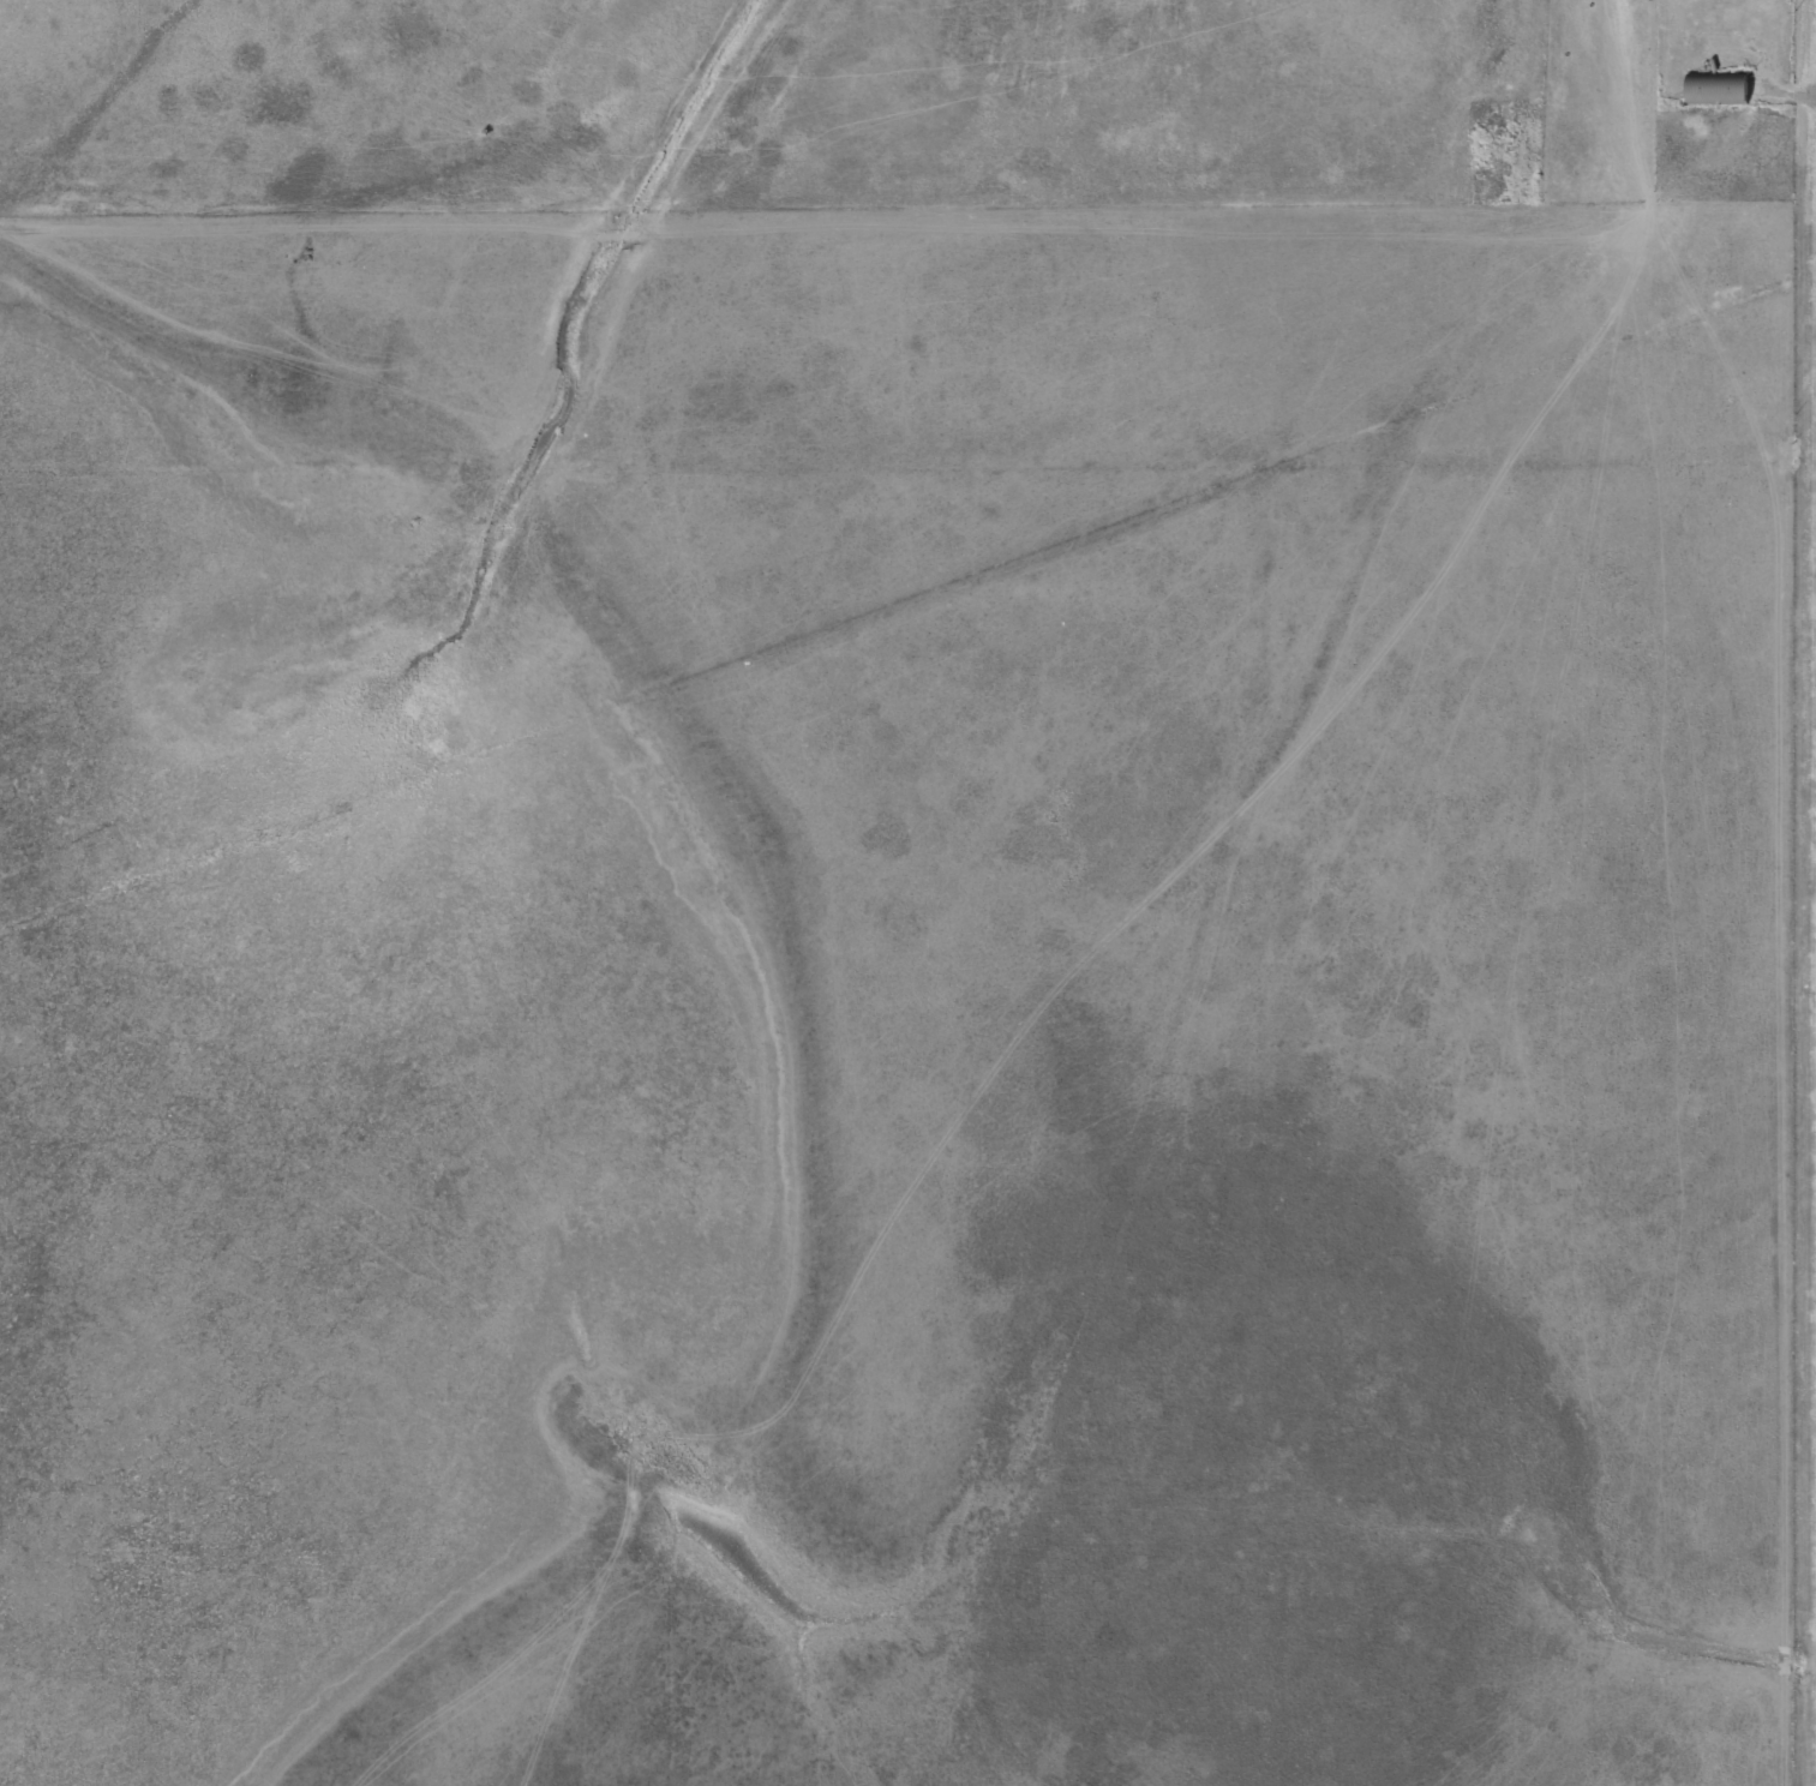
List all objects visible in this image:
building: (1720, 79)

